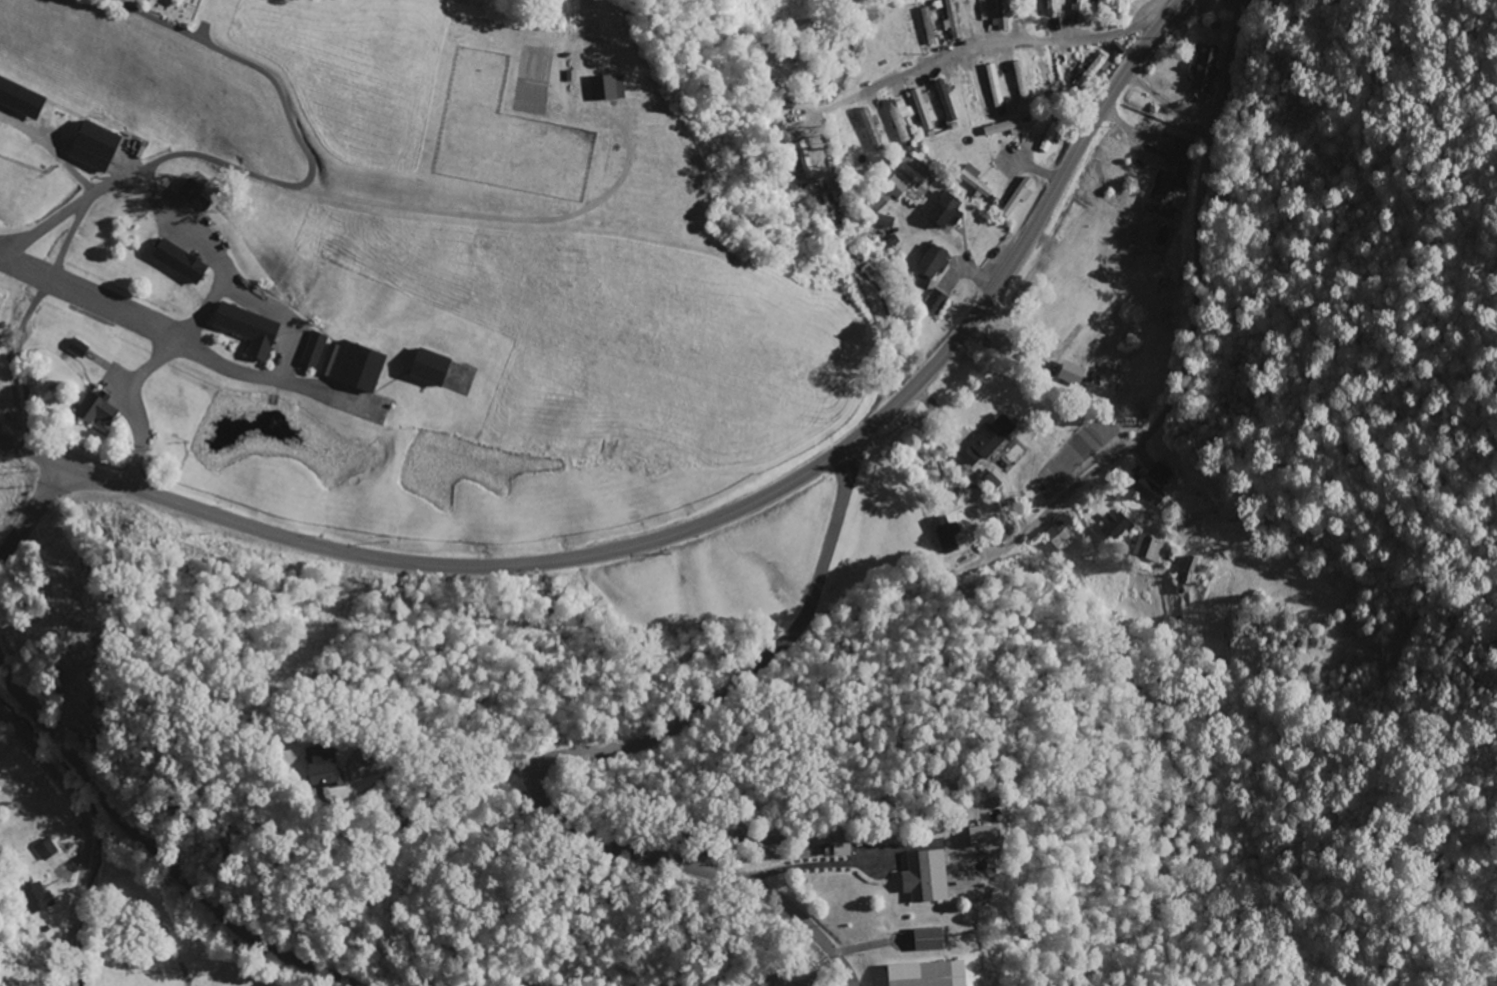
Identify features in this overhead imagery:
building: (1053, 8)
building: (1081, 12)
park: (160, 13)
building: (1005, 15)
building: (955, 19)
road: (1010, 41)
building: (1101, 67)
building: (1208, 68)
building: (1024, 83)
building: (997, 87)
building: (610, 89)
building: (22, 98)
building: (948, 102)
building: (924, 109)
building: (901, 117)
building: (1009, 129)
building: (98, 148)
building: (977, 182)
building: (899, 189)
building: (194, 191)
building: (1166, 195)
building: (1021, 198)
building: (949, 212)
building: (887, 223)
building: (183, 263)
building: (937, 263)
airport runway: (10, 265)
building: (924, 284)
building: (938, 303)
road: (1193, 306)
building: (251, 331)
building: (80, 349)
building: (315, 351)
building: (356, 367)
building: (434, 369)
building: (1076, 375)
building: (101, 409)
building: (995, 438)
road: (825, 461)
building: (1163, 475)
road: (130, 487)
road: (56, 490)
building: (1150, 492)
building: (1119, 528)
building: (1062, 537)
road: (17, 541)
building: (1150, 549)
road: (613, 751)
road: (87, 835)
building: (989, 836)
building: (48, 850)
building: (844, 850)
road: (156, 851)
building: (929, 876)
building: (35, 900)
building: (932, 940)
building: (932, 974)

